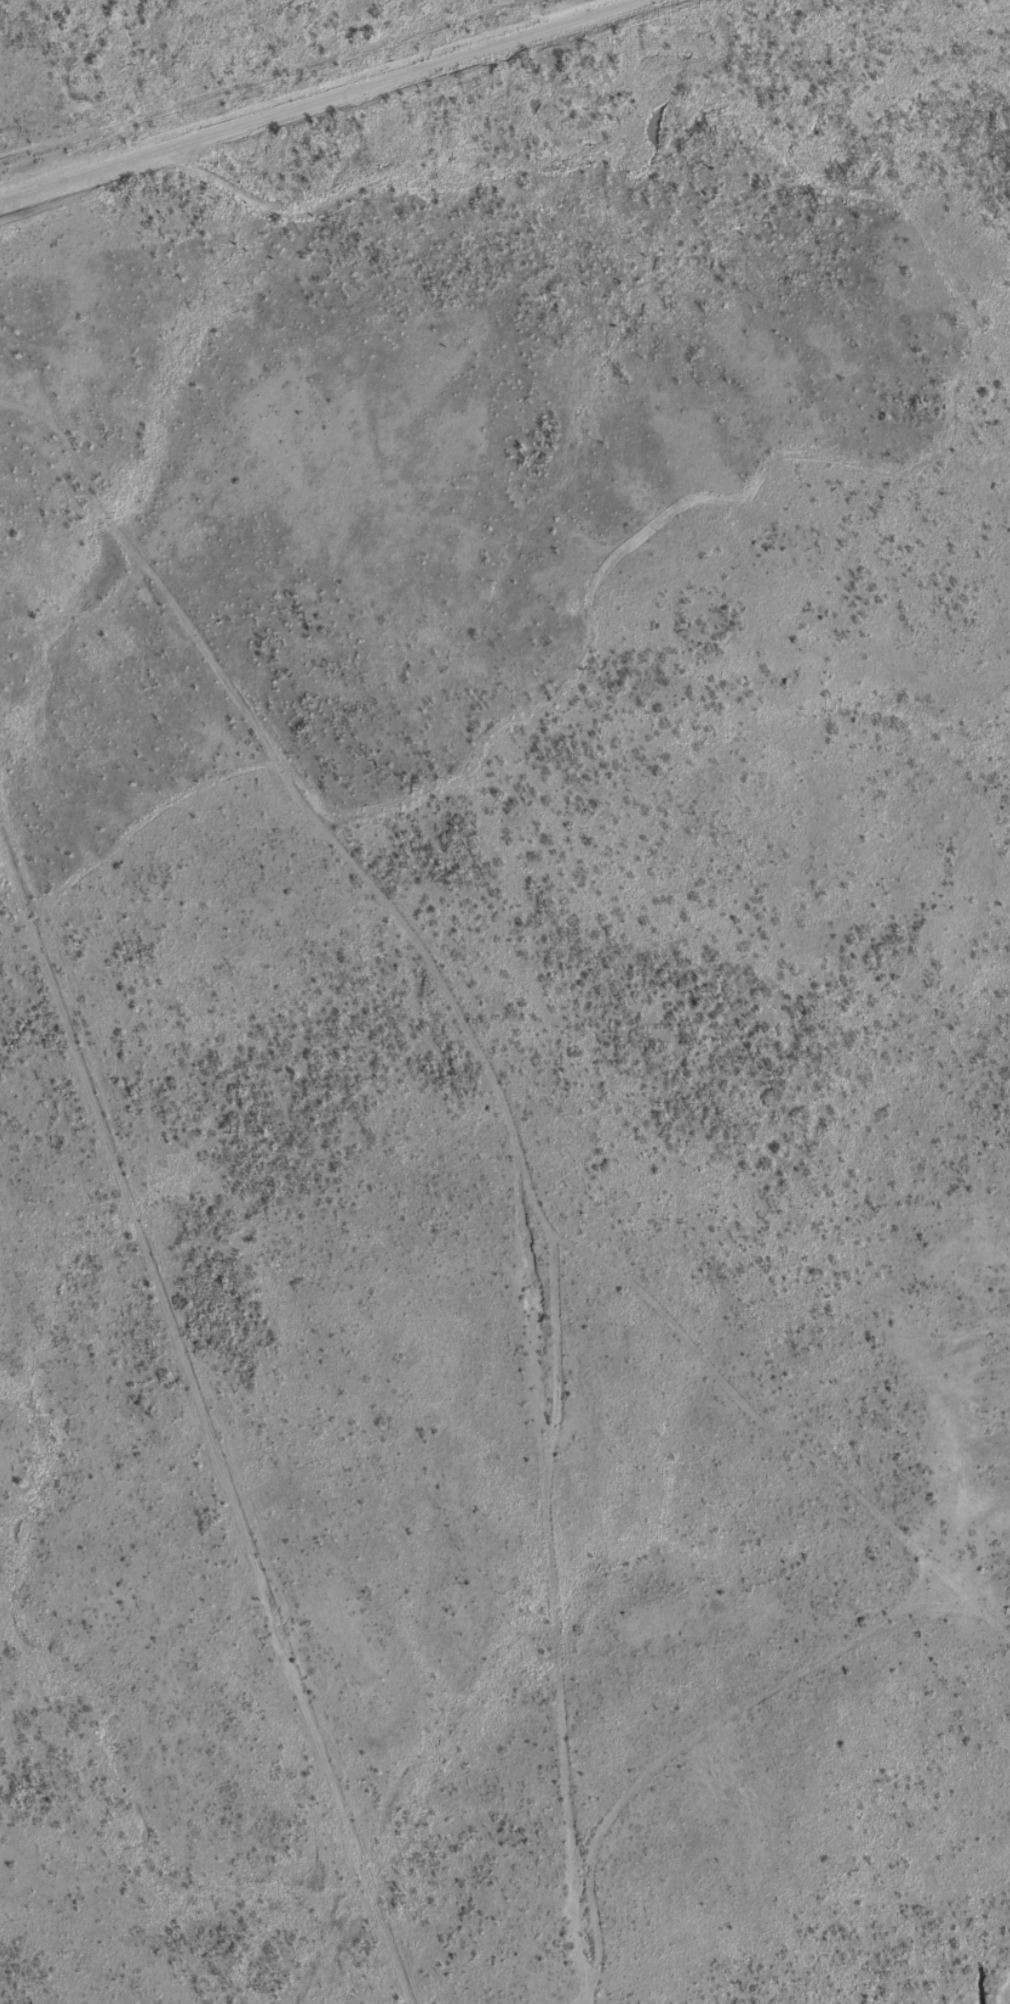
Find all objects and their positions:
road: (349, 111)
road: (487, 1102)

